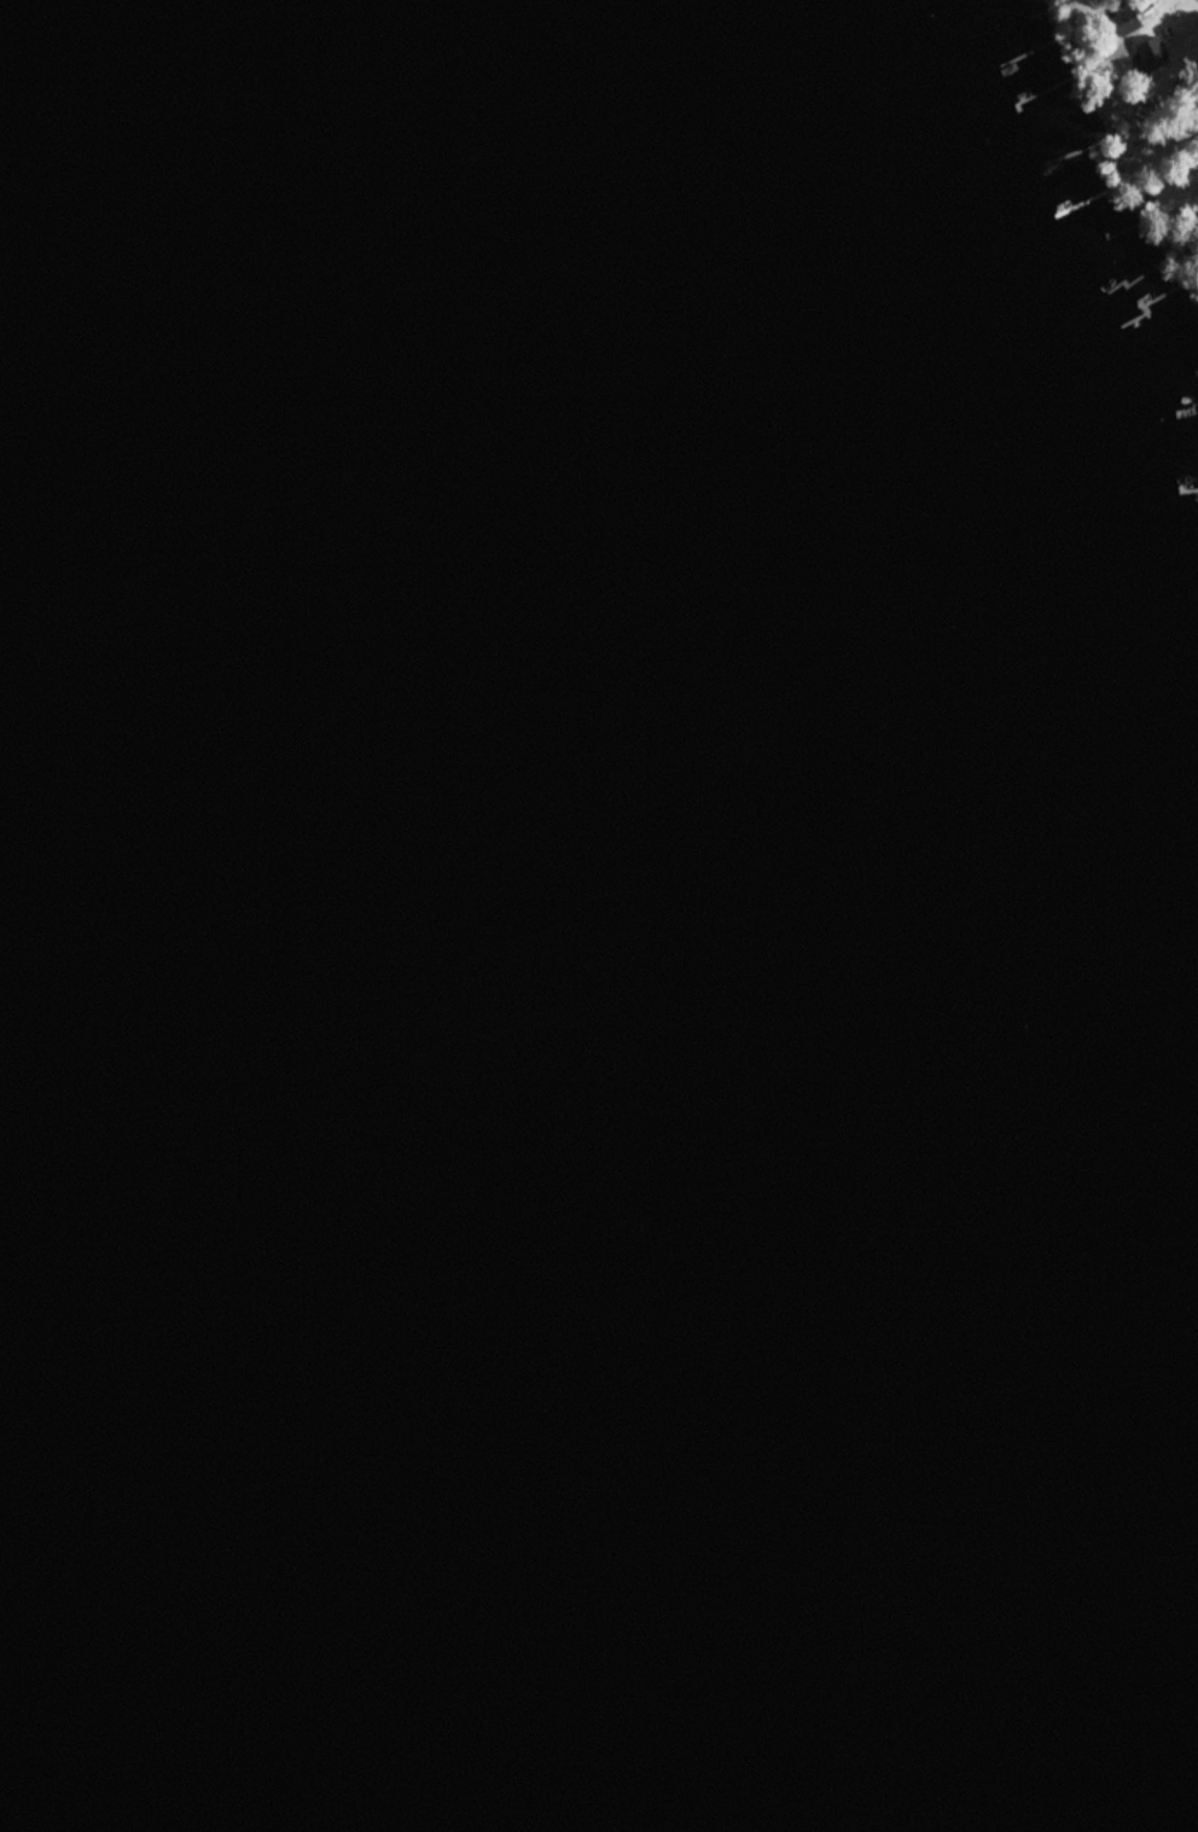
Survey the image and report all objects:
building: (1123, 19)
building: (1150, 53)
building: (1197, 106)

